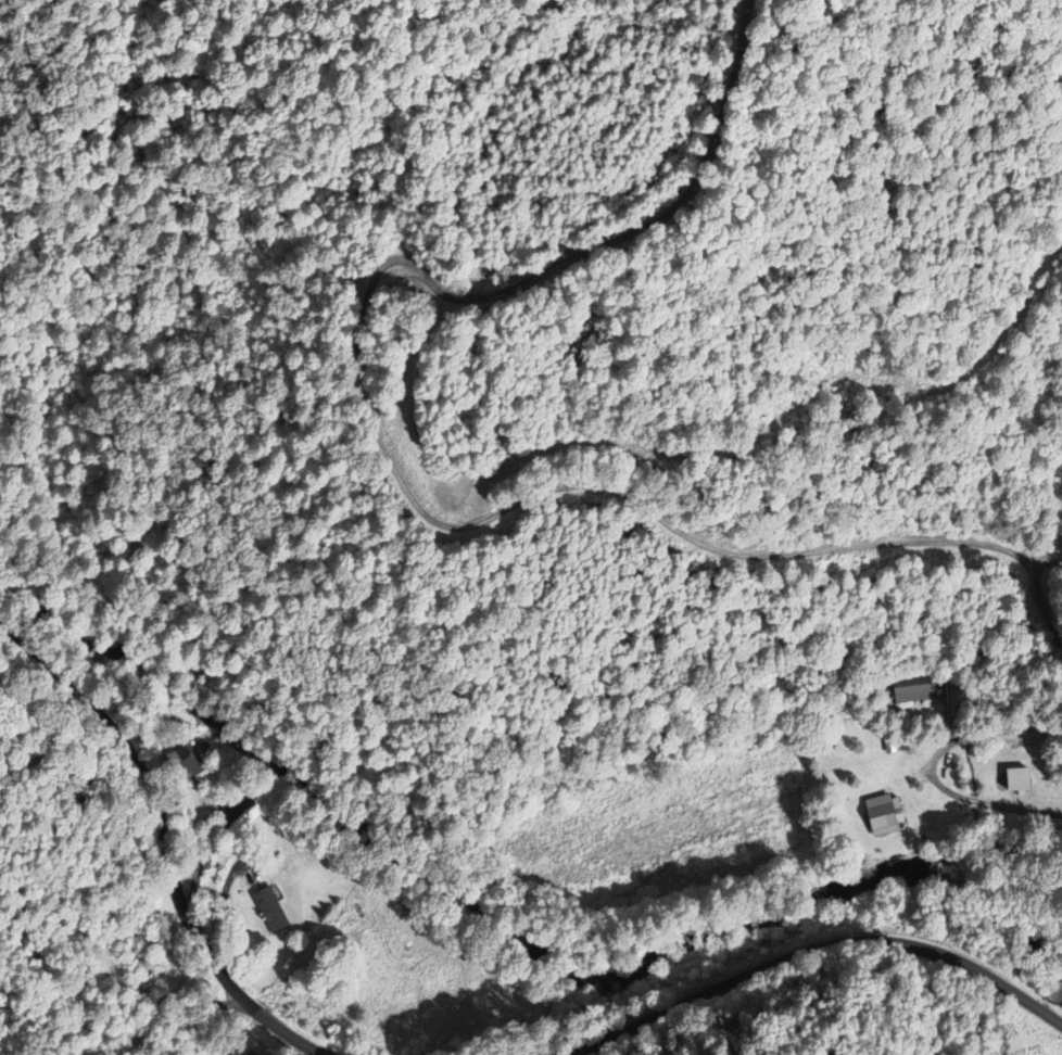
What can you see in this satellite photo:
road: (400, 483)
building: (911, 688)
road: (984, 736)
building: (185, 760)
building: (1019, 779)
road: (152, 798)
building: (885, 814)
building: (270, 910)
road: (842, 943)
road: (276, 1031)
road: (590, 1043)
building: (253, 1053)

